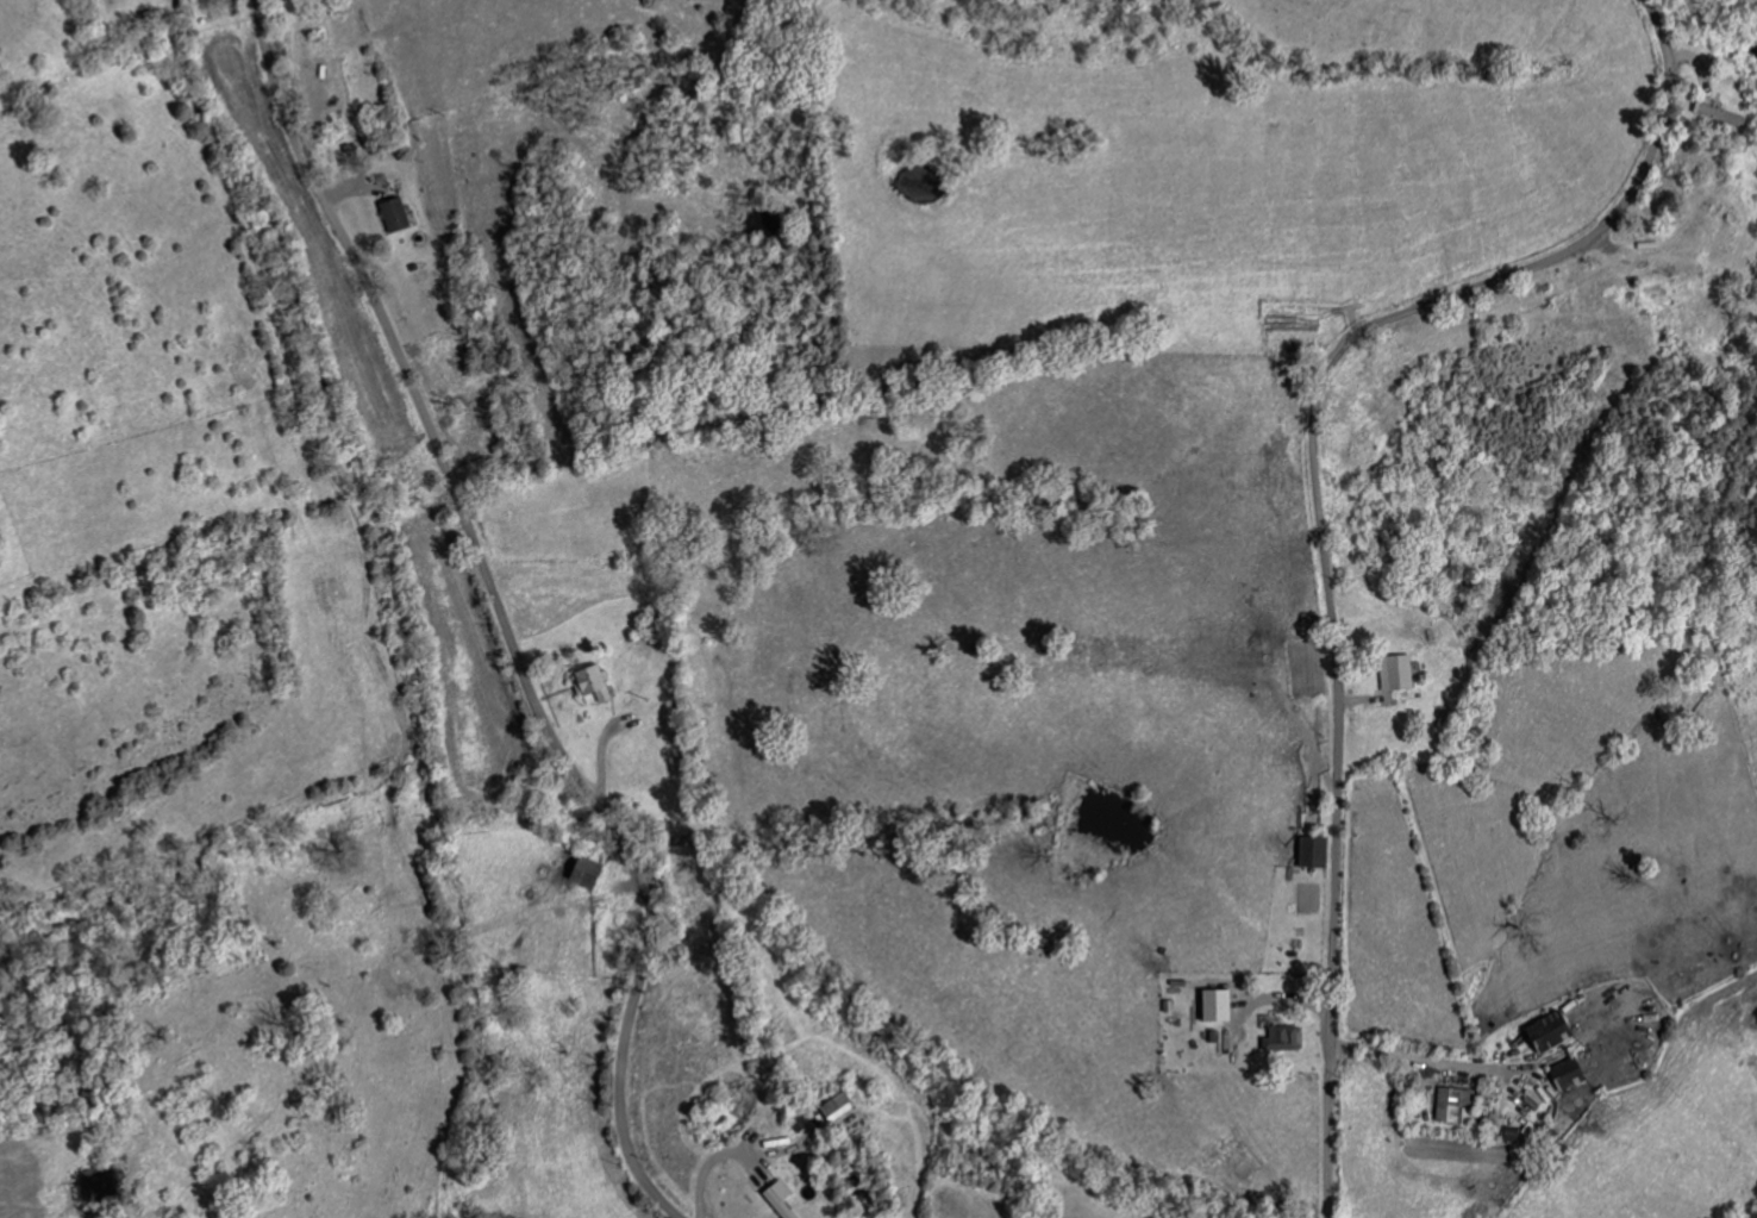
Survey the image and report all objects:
building: (1724, 114)
building: (400, 216)
road: (1319, 510)
road: (504, 614)
building: (1392, 672)
building: (596, 682)
building: (594, 873)
building: (1543, 1031)
building: (1280, 1038)
road: (1402, 1055)
building: (1562, 1074)
building: (1449, 1103)
building: (842, 1106)
building: (783, 1201)

